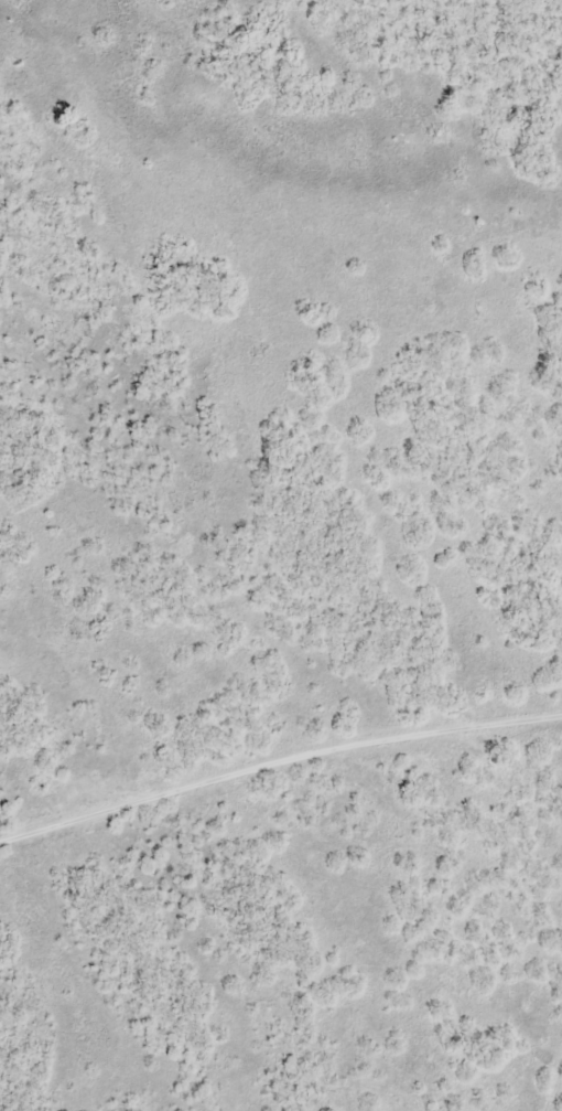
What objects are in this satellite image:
road: (279, 766)

